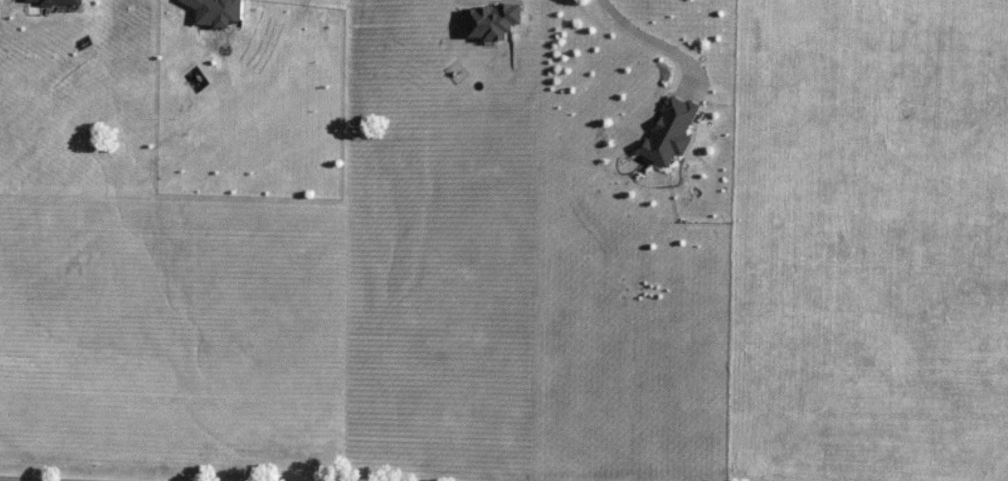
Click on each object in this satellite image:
road: (654, 41)
road: (20, 480)

